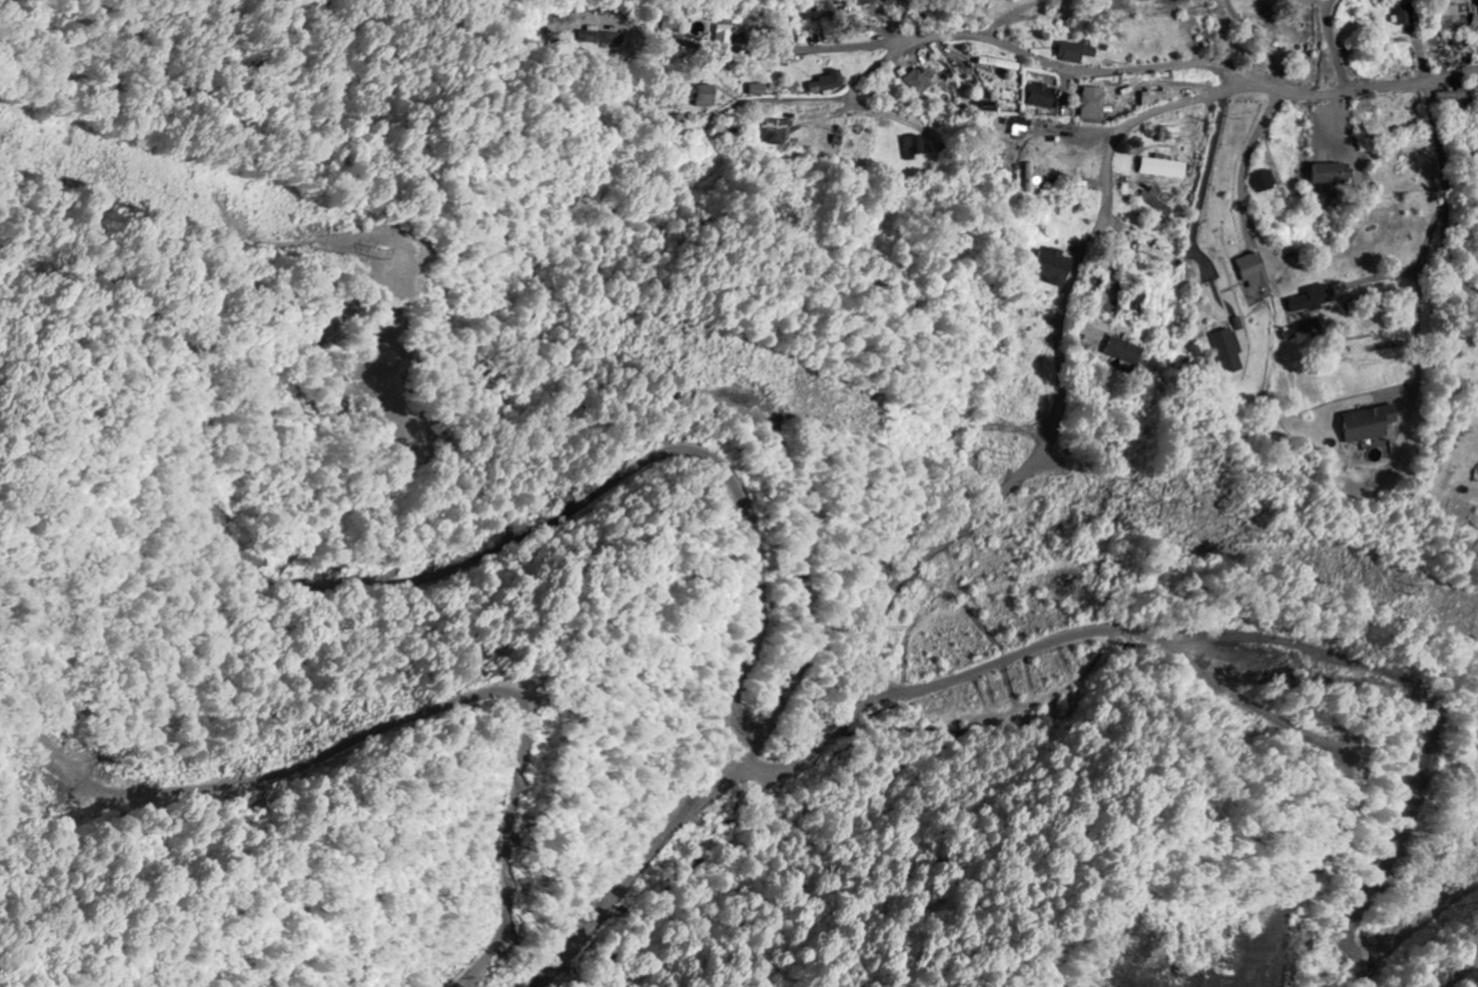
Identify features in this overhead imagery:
building: (870, 1)
building: (1450, 13)
building: (1408, 14)
building: (1476, 20)
road: (868, 28)
building: (734, 33)
building: (597, 37)
road: (1280, 46)
road: (1337, 46)
road: (785, 50)
building: (1077, 52)
building: (1004, 64)
road: (1117, 71)
building: (922, 80)
building: (829, 83)
building: (759, 89)
building: (703, 94)
building: (1458, 95)
building: (1042, 96)
building: (1157, 96)
building: (1095, 103)
road: (743, 105)
road: (1351, 111)
building: (679, 120)
building: (1022, 124)
building: (777, 132)
building: (916, 146)
building: (1165, 168)
road: (1248, 170)
road: (1210, 173)
building: (1333, 174)
building: (1032, 178)
building: (1266, 180)
road: (1448, 192)
road: (1107, 197)
building: (1159, 200)
building: (1053, 266)
building: (1257, 271)
building: (1314, 299)
building: (1139, 301)
building: (1231, 350)
building: (1128, 351)
power tower: (756, 373)
building: (1374, 422)
road: (937, 546)

